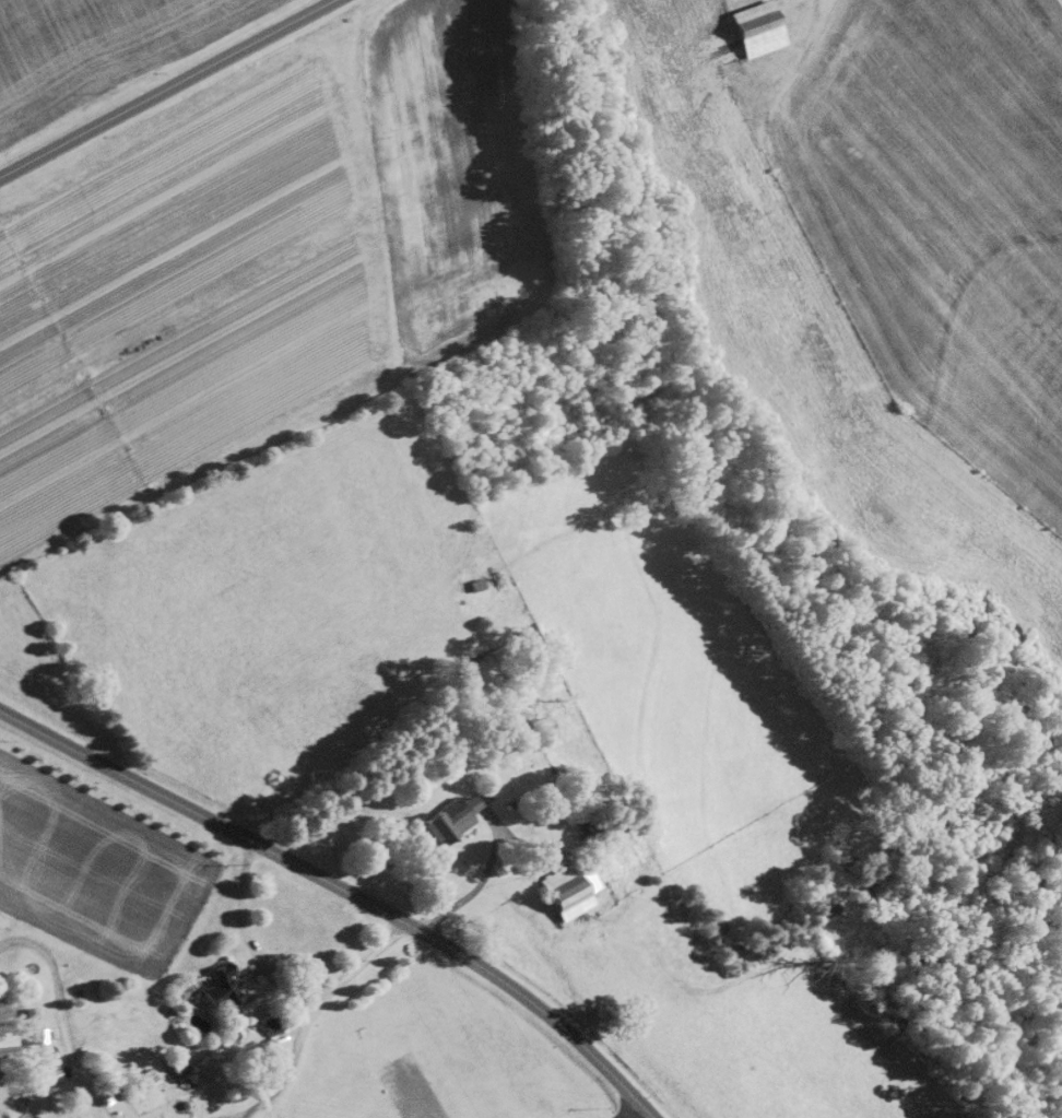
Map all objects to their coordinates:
building: (754, 26)
road: (165, 86)
crop: (880, 271)
building: (469, 801)
building: (444, 821)
building: (610, 864)
road: (476, 882)
road: (342, 887)
building: (566, 888)
road: (244, 937)
building: (222, 988)
road: (305, 1017)
building: (173, 1063)
building: (45, 1074)
building: (138, 1081)
road: (621, 1108)

